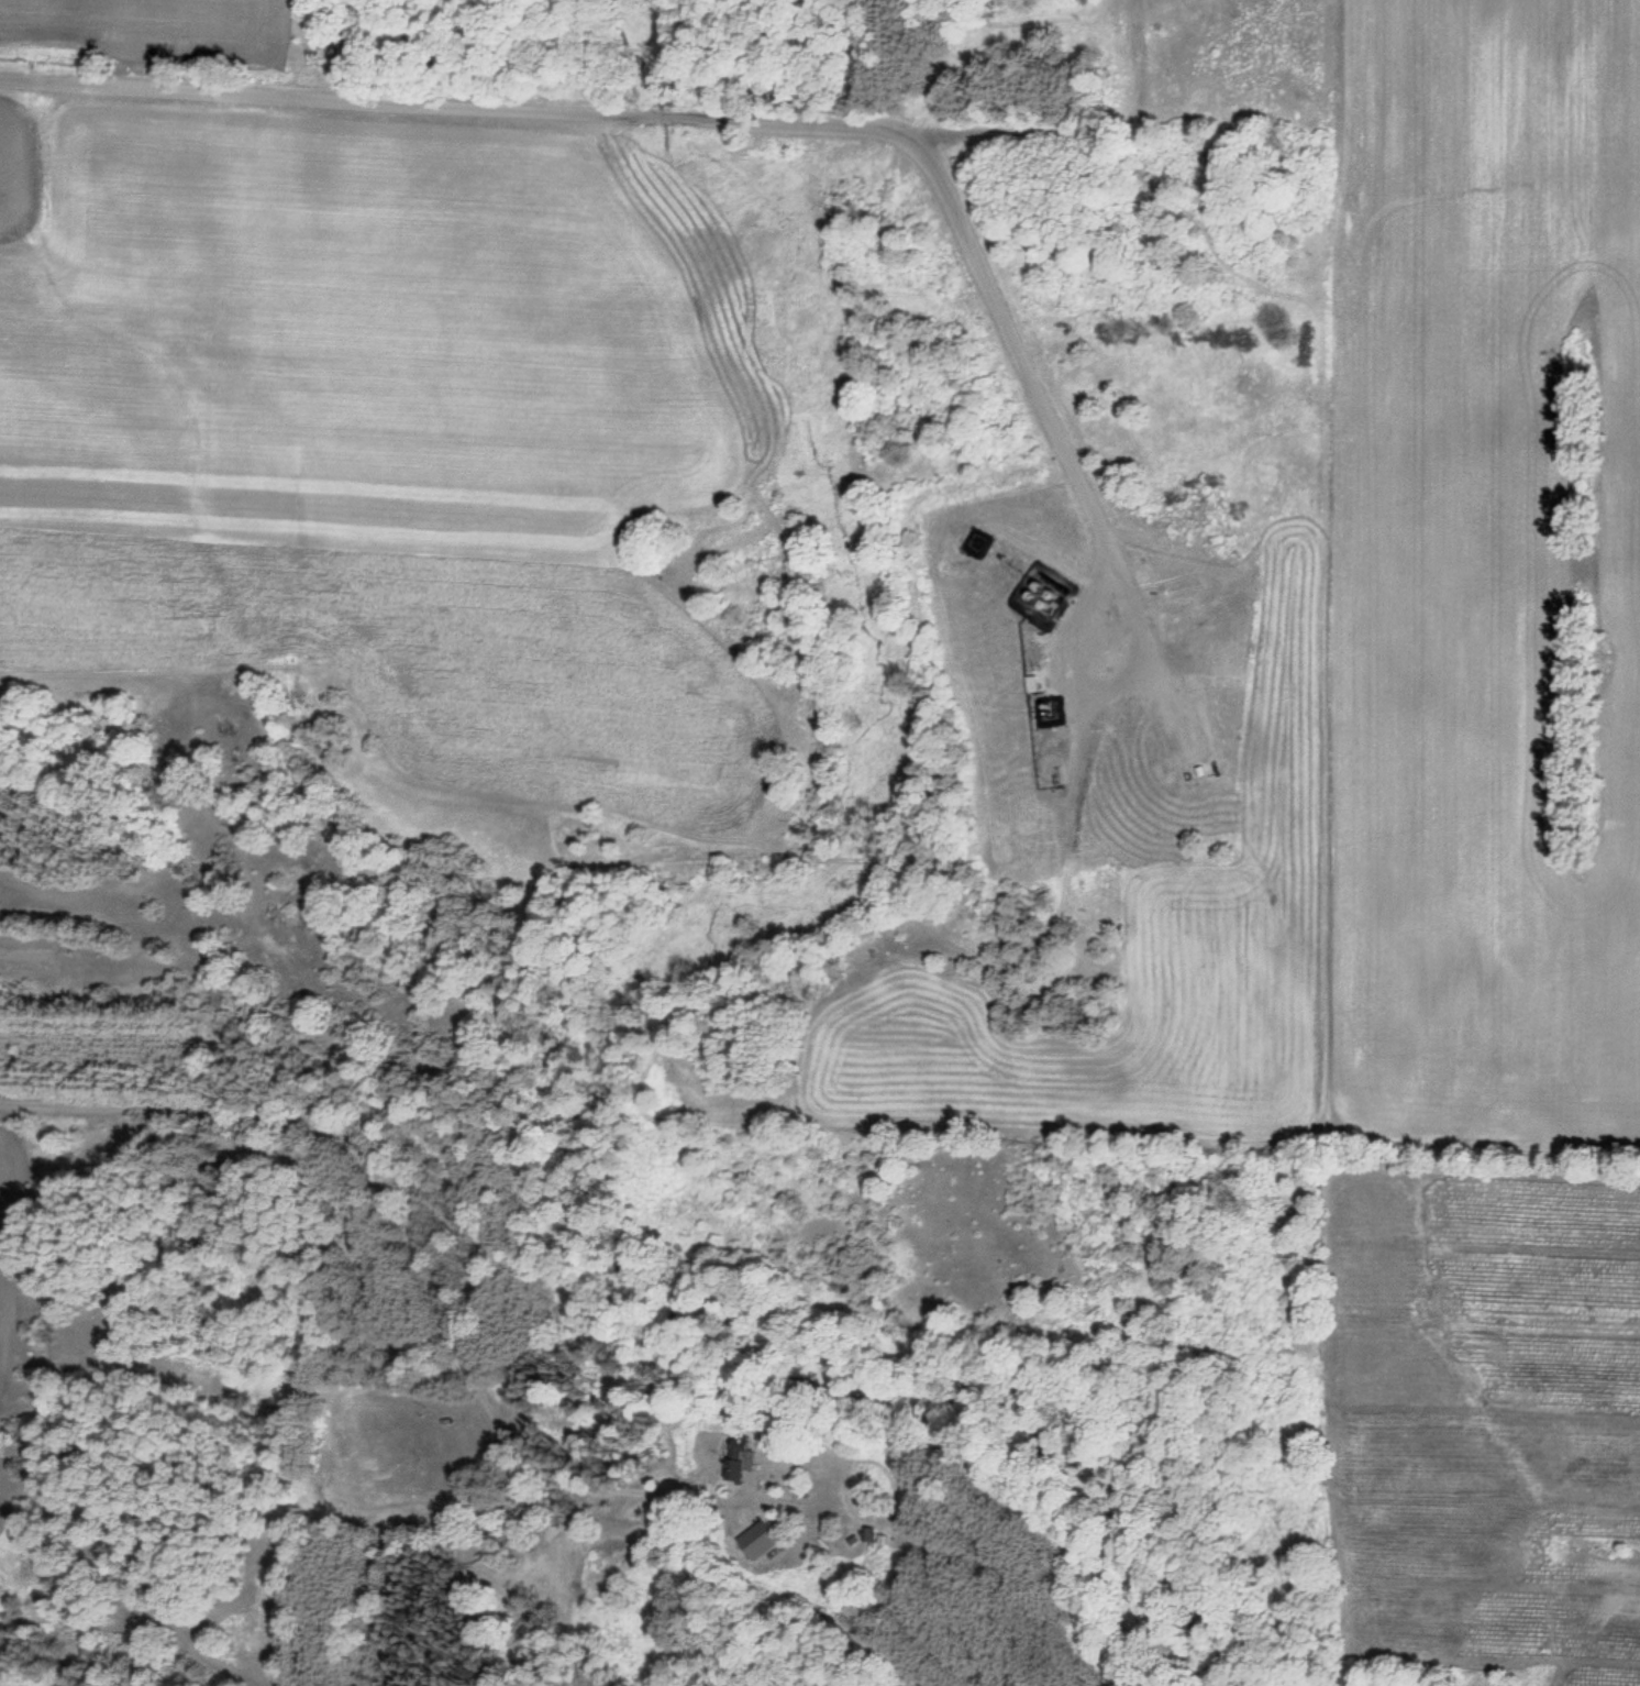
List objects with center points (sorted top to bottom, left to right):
road: (734, 122)
road: (437, 1286)

